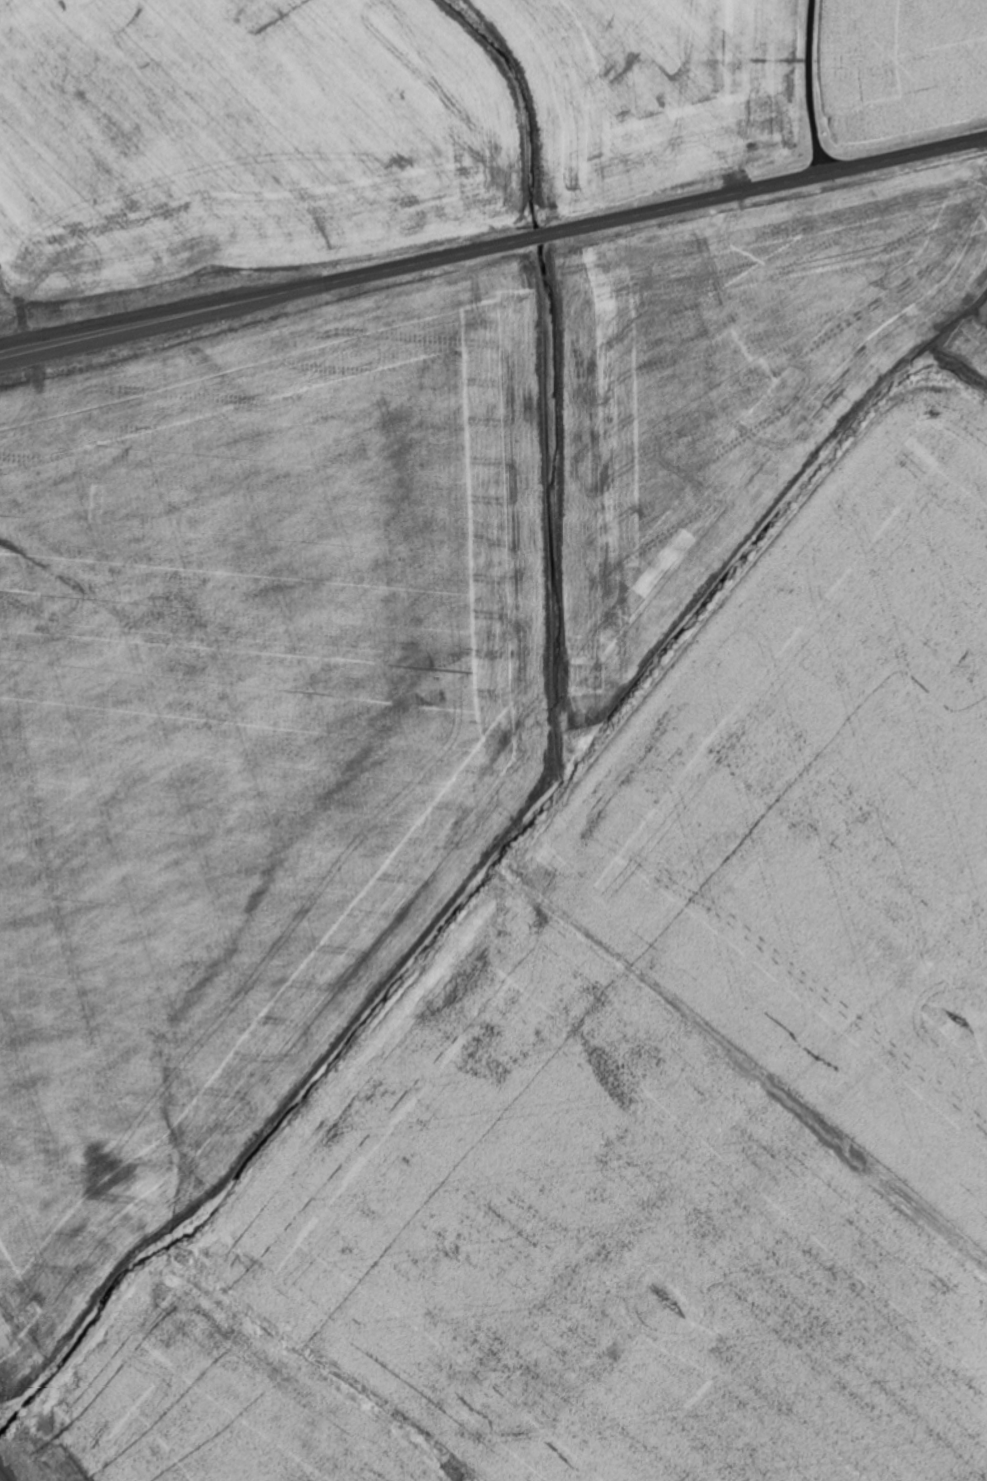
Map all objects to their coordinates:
road: (808, 86)
road: (493, 246)

